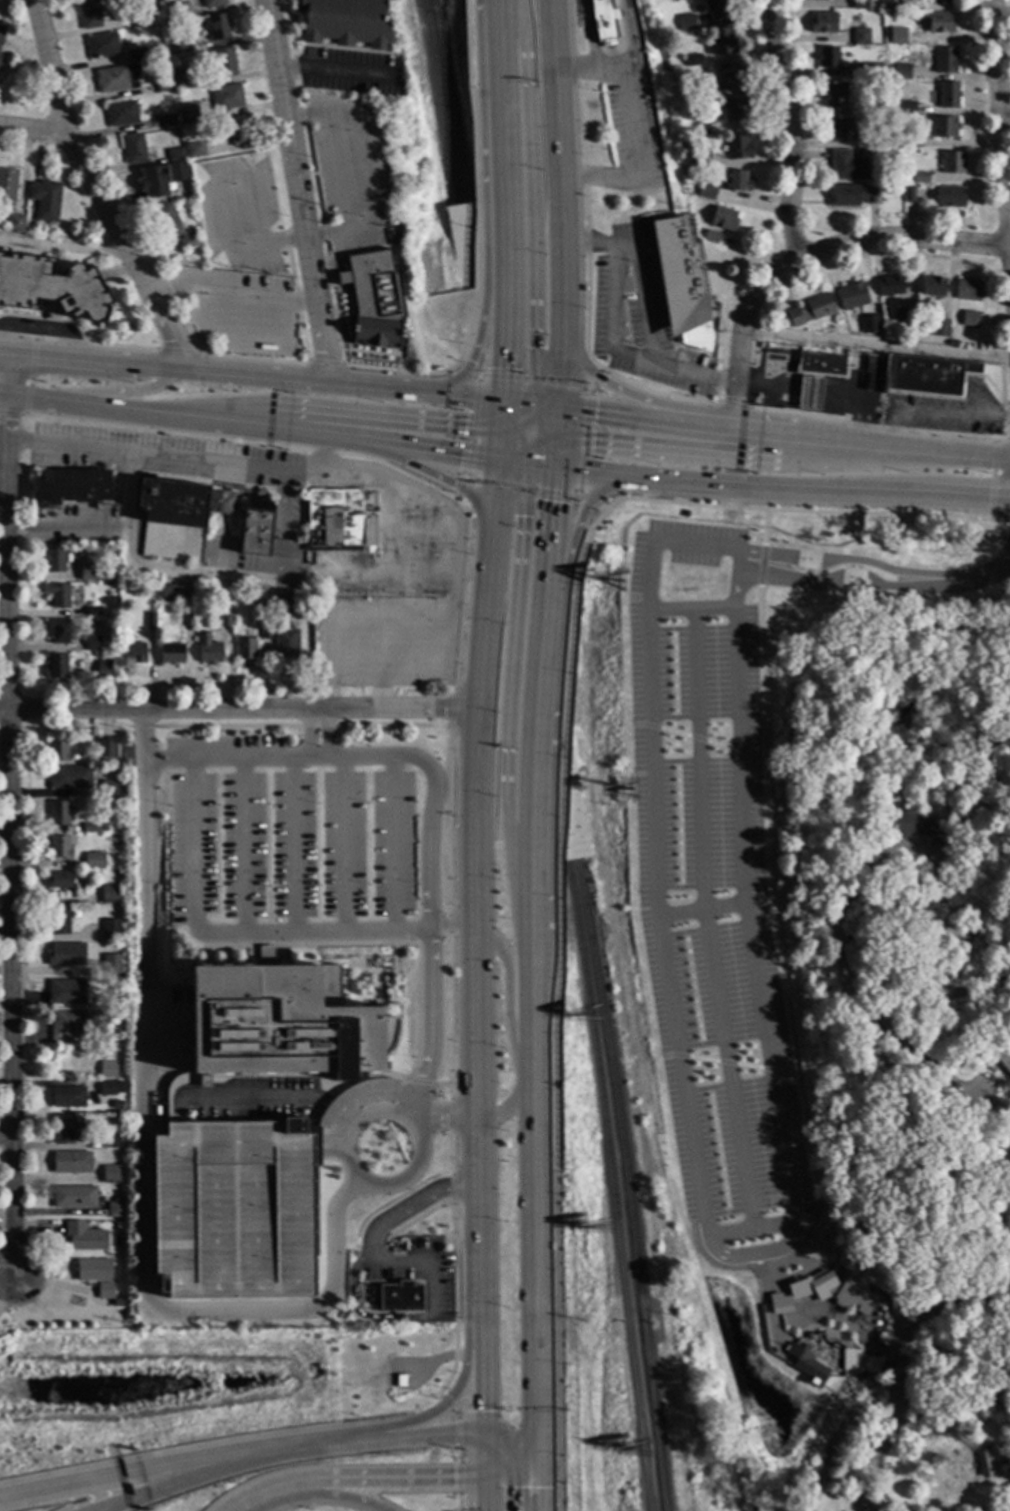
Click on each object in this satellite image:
building: (939, 2)
building: (212, 4)
building: (859, 5)
building: (892, 5)
building: (719, 9)
building: (178, 10)
building: (88, 15)
building: (143, 16)
building: (605, 21)
building: (345, 23)
building: (687, 23)
building: (823, 23)
building: (940, 23)
building: (166, 25)
building: (218, 28)
building: (1, 35)
road: (590, 35)
building: (897, 35)
building: (860, 37)
building: (721, 42)
road: (633, 45)
building: (101, 47)
building: (174, 47)
building: (137, 56)
building: (827, 58)
building: (944, 60)
building: (693, 61)
building: (223, 64)
road: (332, 71)
building: (873, 71)
building: (901, 72)
building: (729, 75)
building: (116, 80)
building: (182, 80)
building: (163, 87)
building: (702, 91)
building: (834, 95)
building: (948, 95)
building: (226, 98)
railway: (449, 102)
railway: (439, 103)
building: (907, 108)
building: (735, 109)
building: (120, 114)
road: (503, 114)
road: (1001, 117)
building: (187, 118)
road: (322, 119)
building: (168, 121)
road: (34, 126)
building: (943, 127)
road: (790, 129)
building: (840, 129)
road: (630, 130)
building: (686, 130)
building: (701, 130)
building: (239, 132)
building: (882, 140)
building: (907, 140)
building: (737, 147)
building: (136, 151)
building: (194, 151)
building: (174, 155)
building: (700, 158)
building: (952, 163)
road: (558, 166)
building: (847, 167)
parking lot: (352, 172)
road: (370, 172)
building: (176, 173)
building: (894, 177)
building: (920, 177)
building: (736, 181)
building: (153, 183)
building: (7, 185)
road: (96, 187)
road: (296, 191)
building: (706, 191)
building: (908, 194)
building: (850, 196)
building: (948, 197)
building: (44, 201)
building: (689, 201)
road: (533, 202)
road: (483, 207)
parking lot: (240, 216)
building: (723, 219)
building: (15, 224)
building: (171, 226)
road: (323, 232)
building: (711, 237)
road: (476, 239)
road: (64, 244)
road: (829, 248)
road: (587, 258)
building: (681, 283)
building: (890, 286)
building: (933, 287)
building: (51, 289)
building: (967, 290)
road: (642, 296)
building: (852, 296)
road: (233, 297)
building: (375, 301)
parking lot: (237, 309)
building: (810, 310)
road: (506, 315)
building: (905, 318)
building: (969, 319)
building: (872, 324)
building: (939, 328)
road: (612, 332)
road: (245, 336)
road: (78, 342)
road: (876, 344)
traffic signals: (534, 348)
road: (179, 352)
road: (54, 355)
road: (253, 359)
road: (325, 362)
building: (820, 363)
road: (457, 364)
traffic signals: (471, 364)
road: (466, 370)
traffic signals: (506, 370)
road: (560, 371)
road: (477, 375)
road: (30, 376)
road: (596, 376)
building: (925, 376)
road: (501, 377)
road: (477, 379)
road: (522, 379)
road: (307, 380)
traffic signals: (603, 382)
road: (552, 383)
road: (584, 387)
road: (588, 388)
road: (1, 392)
road: (107, 392)
road: (14, 394)
building: (809, 394)
road: (634, 398)
road: (733, 399)
road: (520, 404)
road: (731, 404)
road: (93, 407)
road: (547, 408)
road: (473, 410)
road: (585, 410)
road: (331, 412)
road: (516, 412)
road: (11, 413)
road: (537, 414)
traffic signals: (593, 415)
road: (504, 416)
road: (549, 416)
road: (645, 421)
road: (530, 424)
road: (557, 424)
road: (732, 424)
traffic signals: (464, 426)
road: (877, 426)
road: (256, 428)
road: (513, 428)
road: (584, 428)
road: (828, 429)
road: (542, 431)
road: (759, 435)
road: (524, 436)
road: (550, 440)
road: (1009, 440)
road: (470, 442)
road: (535, 443)
traffic signals: (591, 443)
road: (503, 445)
road: (731, 445)
road: (854, 445)
road: (642, 448)
road: (428, 449)
road: (324, 453)
road: (514, 453)
road: (555, 453)
road: (339, 454)
traffic signals: (461, 454)
road: (549, 454)
road: (526, 455)
road: (966, 456)
road: (825, 458)
road: (467, 459)
road: (581, 460)
road: (514, 462)
road: (540, 466)
road: (311, 470)
road: (584, 472)
road: (431, 474)
road: (464, 478)
road: (992, 479)
road: (469, 480)
traffic signals: (453, 485)
road: (502, 485)
building: (71, 487)
road: (599, 487)
road: (765, 488)
road: (458, 489)
road: (532, 490)
road: (654, 491)
road: (553, 494)
road: (577, 494)
road: (576, 497)
road: (963, 497)
road: (455, 498)
road: (617, 500)
road: (588, 502)
building: (222, 503)
traffic signals: (551, 503)
traffic signals: (585, 510)
road: (821, 512)
traffic signals: (522, 517)
building: (173, 520)
building: (336, 521)
road: (66, 527)
building: (262, 529)
road: (547, 546)
building: (54, 561)
road: (844, 561)
road: (157, 570)
building: (81, 575)
road: (981, 575)
road: (842, 579)
building: (171, 593)
building: (58, 596)
building: (281, 605)
road: (689, 610)
building: (93, 611)
building: (188, 619)
building: (226, 619)
building: (266, 619)
building: (150, 620)
building: (280, 625)
building: (57, 631)
building: (92, 643)
building: (286, 645)
building: (208, 650)
building: (246, 650)
building: (133, 653)
building: (171, 653)
building: (56, 666)
building: (105, 671)
road: (508, 705)
road: (450, 707)
road: (238, 711)
road: (306, 735)
road: (327, 736)
building: (106, 748)
building: (58, 752)
road: (551, 763)
road: (433, 773)
building: (69, 777)
road: (530, 785)
building: (108, 789)
road: (9, 812)
building: (58, 814)
road: (449, 821)
road: (475, 823)
building: (907, 824)
building: (93, 827)
road: (391, 844)
road: (342, 846)
road: (292, 847)
building: (59, 848)
road: (241, 849)
building: (94, 861)
parking lot: (707, 874)
road: (863, 880)
building: (59, 881)
building: (109, 894)
road: (700, 911)
building: (58, 921)
road: (704, 921)
road: (448, 925)
road: (451, 926)
building: (110, 930)
road: (228, 934)
building: (66, 954)
building: (111, 964)
building: (67, 992)
road: (509, 997)
road: (556, 1001)
road: (529, 1011)
road: (450, 1017)
building: (74, 1023)
building: (1003, 1055)
building: (117, 1057)
building: (107, 1069)
building: (880, 1072)
building: (940, 1074)
building: (1009, 1079)
building: (110, 1087)
building: (68, 1096)
road: (975, 1097)
road: (507, 1105)
road: (450, 1116)
road: (444, 1119)
building: (63, 1130)
building: (256, 1132)
road: (348, 1133)
road: (6, 1139)
building: (109, 1142)
road: (451, 1154)
building: (71, 1162)
building: (110, 1172)
railway: (624, 1184)
railway: (610, 1185)
road: (451, 1189)
road: (146, 1192)
building: (73, 1197)
road: (409, 1206)
building: (114, 1207)
road: (706, 1223)
road: (479, 1226)
building: (84, 1237)
road: (755, 1254)
road: (428, 1259)
road: (533, 1267)
building: (93, 1269)
building: (104, 1290)
building: (798, 1290)
building: (843, 1290)
building: (400, 1297)
building: (117, 1300)
road: (454, 1302)
building: (780, 1304)
road: (811, 1311)
road: (365, 1315)
road: (846, 1332)
road: (841, 1340)
railway: (960, 1341)
road: (480, 1348)
building: (847, 1360)
building: (807, 1365)
road: (899, 1367)
railway: (898, 1374)
road: (455, 1391)
road: (447, 1407)
road: (953, 1409)
traffic signals: (481, 1432)
road: (409, 1437)
railway: (836, 1442)
road: (508, 1444)
road: (285, 1450)
road: (456, 1454)
road: (481, 1455)
traffic signals: (536, 1456)
building: (988, 1463)
road: (509, 1467)
road: (116, 1478)
road: (384, 1478)
traffic signals: (482, 1478)
road: (535, 1483)
road: (167, 1487)
road: (481, 1494)
road: (261, 1495)
road: (336, 1495)
road: (458, 1502)

